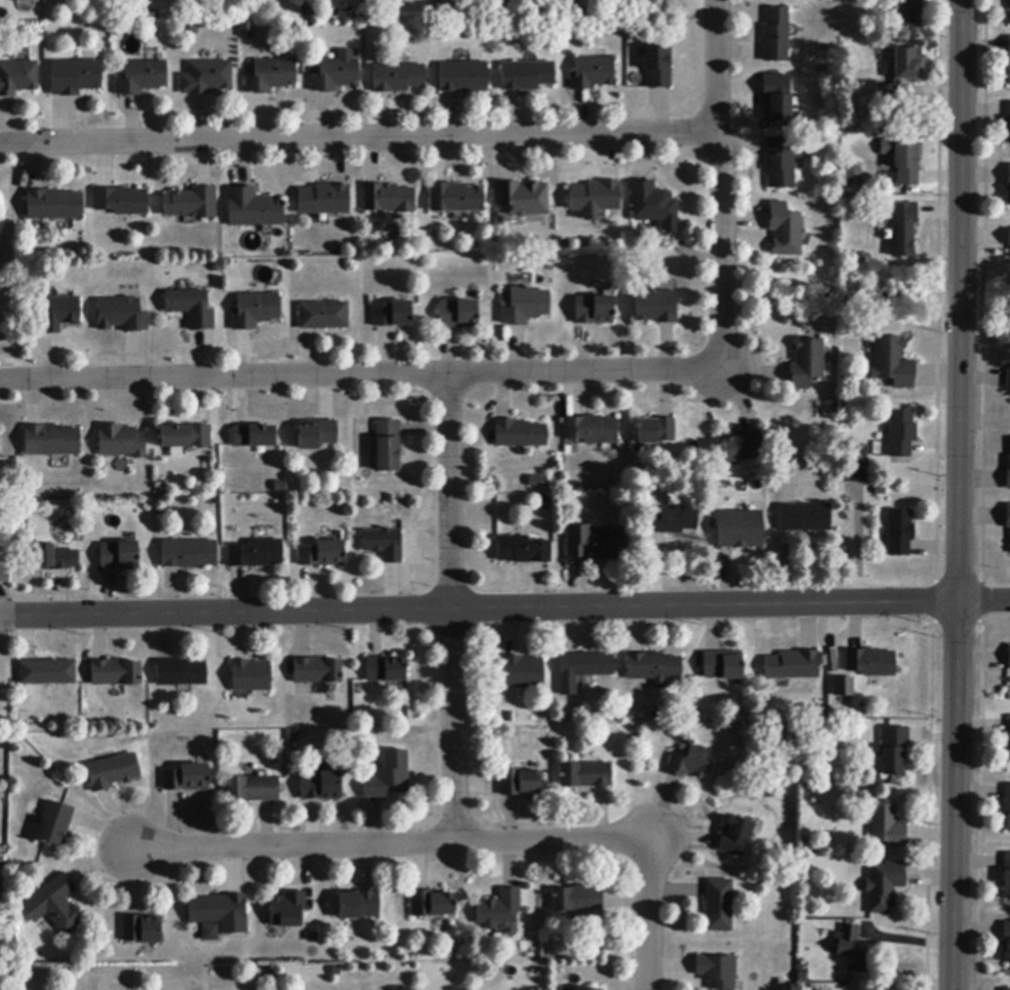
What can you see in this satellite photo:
building: (908, 13)
building: (1009, 13)
building: (189, 29)
building: (247, 30)
building: (775, 36)
building: (1009, 53)
building: (658, 67)
building: (592, 73)
building: (336, 75)
building: (271, 76)
building: (527, 76)
building: (18, 77)
building: (75, 77)
building: (142, 78)
building: (206, 78)
building: (398, 78)
building: (463, 78)
building: (901, 81)
building: (777, 98)
building: (1009, 111)
road: (359, 136)
building: (903, 161)
building: (779, 163)
building: (852, 176)
road: (718, 184)
building: (1008, 185)
building: (595, 197)
building: (456, 198)
building: (388, 199)
building: (523, 199)
building: (324, 200)
building: (122, 201)
building: (192, 203)
building: (651, 203)
building: (54, 205)
building: (253, 209)
building: (902, 230)
building: (783, 231)
building: (1008, 238)
building: (525, 306)
building: (656, 307)
building: (191, 308)
building: (593, 310)
building: (256, 311)
building: (57, 314)
building: (458, 314)
building: (122, 315)
building: (392, 315)
building: (324, 316)
building: (891, 363)
building: (806, 364)
road: (359, 375)
building: (1008, 380)
building: (591, 430)
building: (656, 431)
building: (317, 434)
building: (520, 434)
building: (901, 434)
building: (186, 436)
building: (254, 436)
building: (52, 441)
building: (122, 441)
building: (388, 446)
building: (742, 447)
building: (853, 463)
building: (1008, 473)
building: (537, 480)
road: (959, 495)
building: (1008, 517)
building: (804, 518)
building: (673, 521)
building: (740, 530)
building: (900, 533)
building: (384, 544)
building: (596, 544)
building: (1009, 545)
building: (523, 550)
building: (189, 554)
building: (256, 554)
building: (323, 554)
building: (119, 556)
building: (55, 558)
building: (5, 574)
road: (451, 608)
road: (504, 609)
building: (1009, 658)
building: (831, 663)
building: (870, 663)
building: (723, 666)
building: (792, 666)
building: (653, 668)
building: (387, 669)
building: (583, 670)
building: (317, 671)
building: (47, 672)
building: (524, 672)
building: (116, 673)
building: (181, 673)
building: (252, 676)
building: (844, 687)
building: (1009, 732)
building: (893, 750)
building: (691, 763)
building: (113, 772)
building: (586, 775)
building: (389, 776)
building: (187, 778)
building: (520, 782)
building: (321, 786)
building: (253, 789)
building: (1007, 807)
building: (55, 824)
building: (887, 827)
building: (736, 837)
road: (392, 844)
building: (1006, 876)
building: (884, 886)
building: (578, 899)
building: (433, 904)
building: (359, 905)
building: (55, 906)
building: (719, 906)
building: (288, 910)
building: (499, 910)
building: (220, 913)
road: (651, 916)
building: (142, 929)
building: (208, 931)
building: (1007, 943)
building: (851, 948)
building: (717, 971)
building: (586, 989)
building: (1005, 989)

